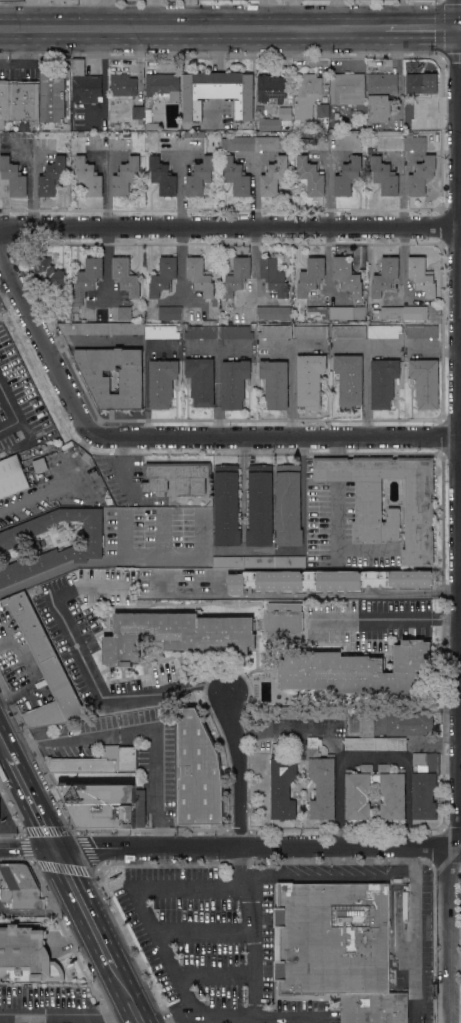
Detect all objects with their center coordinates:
road: (106, 13)
road: (153, 13)
road: (188, 13)
road: (263, 13)
road: (419, 26)
traffic signals: (455, 26)
road: (458, 26)
road: (192, 27)
building: (421, 83)
building: (85, 84)
building: (123, 85)
building: (163, 85)
building: (271, 88)
building: (347, 88)
building: (307, 92)
building: (218, 93)
building: (52, 95)
building: (380, 95)
building: (23, 101)
building: (4, 104)
building: (423, 105)
building: (259, 109)
building: (323, 110)
building: (138, 112)
building: (276, 119)
building: (153, 126)
building: (295, 133)
building: (80, 134)
building: (194, 134)
building: (302, 134)
building: (388, 140)
building: (413, 142)
building: (238, 143)
building: (267, 143)
building: (52, 176)
building: (126, 176)
building: (200, 176)
building: (237, 176)
building: (273, 176)
building: (311, 176)
building: (384, 176)
building: (421, 176)
building: (13, 177)
building: (89, 177)
building: (163, 177)
building: (347, 177)
road: (180, 186)
road: (107, 189)
road: (254, 193)
road: (228, 228)
road: (254, 264)
building: (47, 275)
building: (89, 276)
building: (126, 276)
building: (163, 276)
building: (200, 276)
building: (237, 276)
building: (274, 276)
building: (310, 276)
building: (385, 276)
building: (422, 276)
building: (348, 277)
building: (63, 309)
building: (75, 311)
building: (273, 312)
building: (348, 312)
building: (388, 312)
building: (124, 313)
building: (170, 313)
building: (317, 313)
building: (415, 313)
building: (101, 328)
building: (202, 330)
building: (348, 331)
building: (383, 331)
building: (421, 331)
building: (161, 332)
building: (235, 332)
building: (274, 332)
building: (311, 332)
road: (44, 333)
road: (460, 333)
road: (380, 344)
road: (292, 346)
road: (366, 375)
building: (349, 378)
building: (201, 380)
building: (309, 381)
building: (162, 382)
building: (234, 382)
building: (383, 382)
building: (425, 382)
building: (275, 383)
building: (131, 385)
road: (290, 390)
road: (12, 410)
road: (277, 434)
road: (339, 446)
road: (338, 469)
building: (94, 474)
building: (12, 476)
building: (177, 478)
road: (243, 492)
road: (37, 494)
building: (226, 505)
building: (260, 505)
building: (288, 505)
building: (419, 512)
road: (460, 512)
road: (164, 535)
road: (122, 536)
road: (339, 538)
building: (82, 550)
road: (121, 562)
building: (228, 562)
building: (259, 562)
building: (290, 562)
building: (325, 581)
road: (386, 618)
building: (283, 621)
building: (176, 635)
building: (45, 668)
building: (357, 670)
road: (29, 673)
road: (90, 675)
building: (287, 713)
building: (323, 713)
building: (368, 723)
building: (409, 723)
road: (138, 731)
road: (332, 739)
building: (293, 742)
building: (358, 743)
building: (390, 743)
road: (3, 745)
road: (372, 756)
building: (127, 758)
road: (232, 769)
building: (198, 772)
building: (321, 781)
building: (425, 785)
building: (283, 786)
building: (97, 792)
building: (357, 793)
building: (392, 793)
road: (31, 800)
road: (407, 803)
road: (230, 848)
road: (237, 866)
road: (325, 874)
building: (20, 887)
road: (142, 903)
building: (390, 906)
road: (86, 909)
road: (415, 935)
building: (337, 948)
building: (26, 955)
road: (252, 988)
road: (130, 996)
road: (68, 1013)
road: (210, 1015)
road: (208, 1019)

